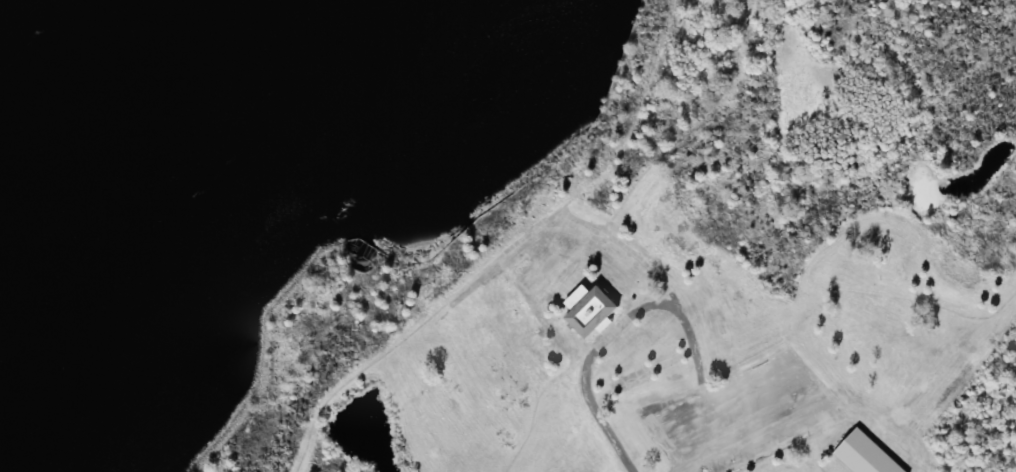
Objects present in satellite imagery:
building: (590, 309)
building: (865, 454)

